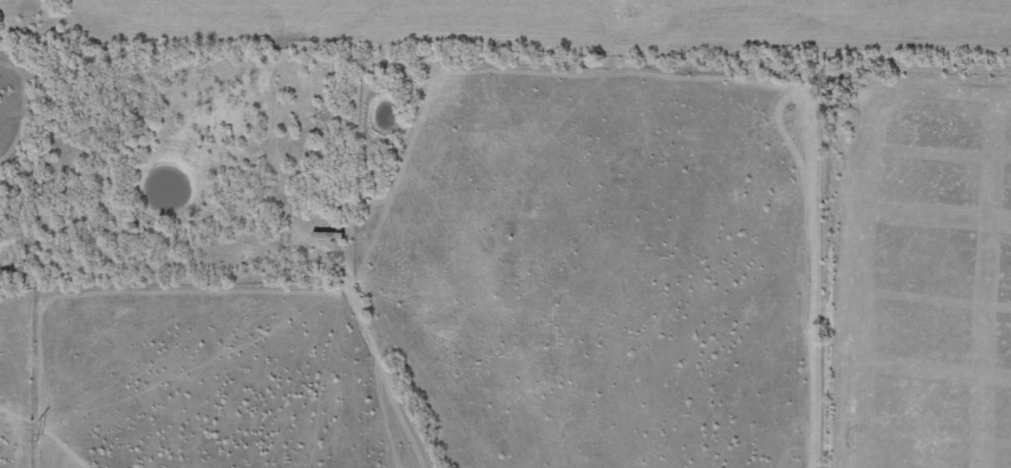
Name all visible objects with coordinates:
power tower: (39, 437)

